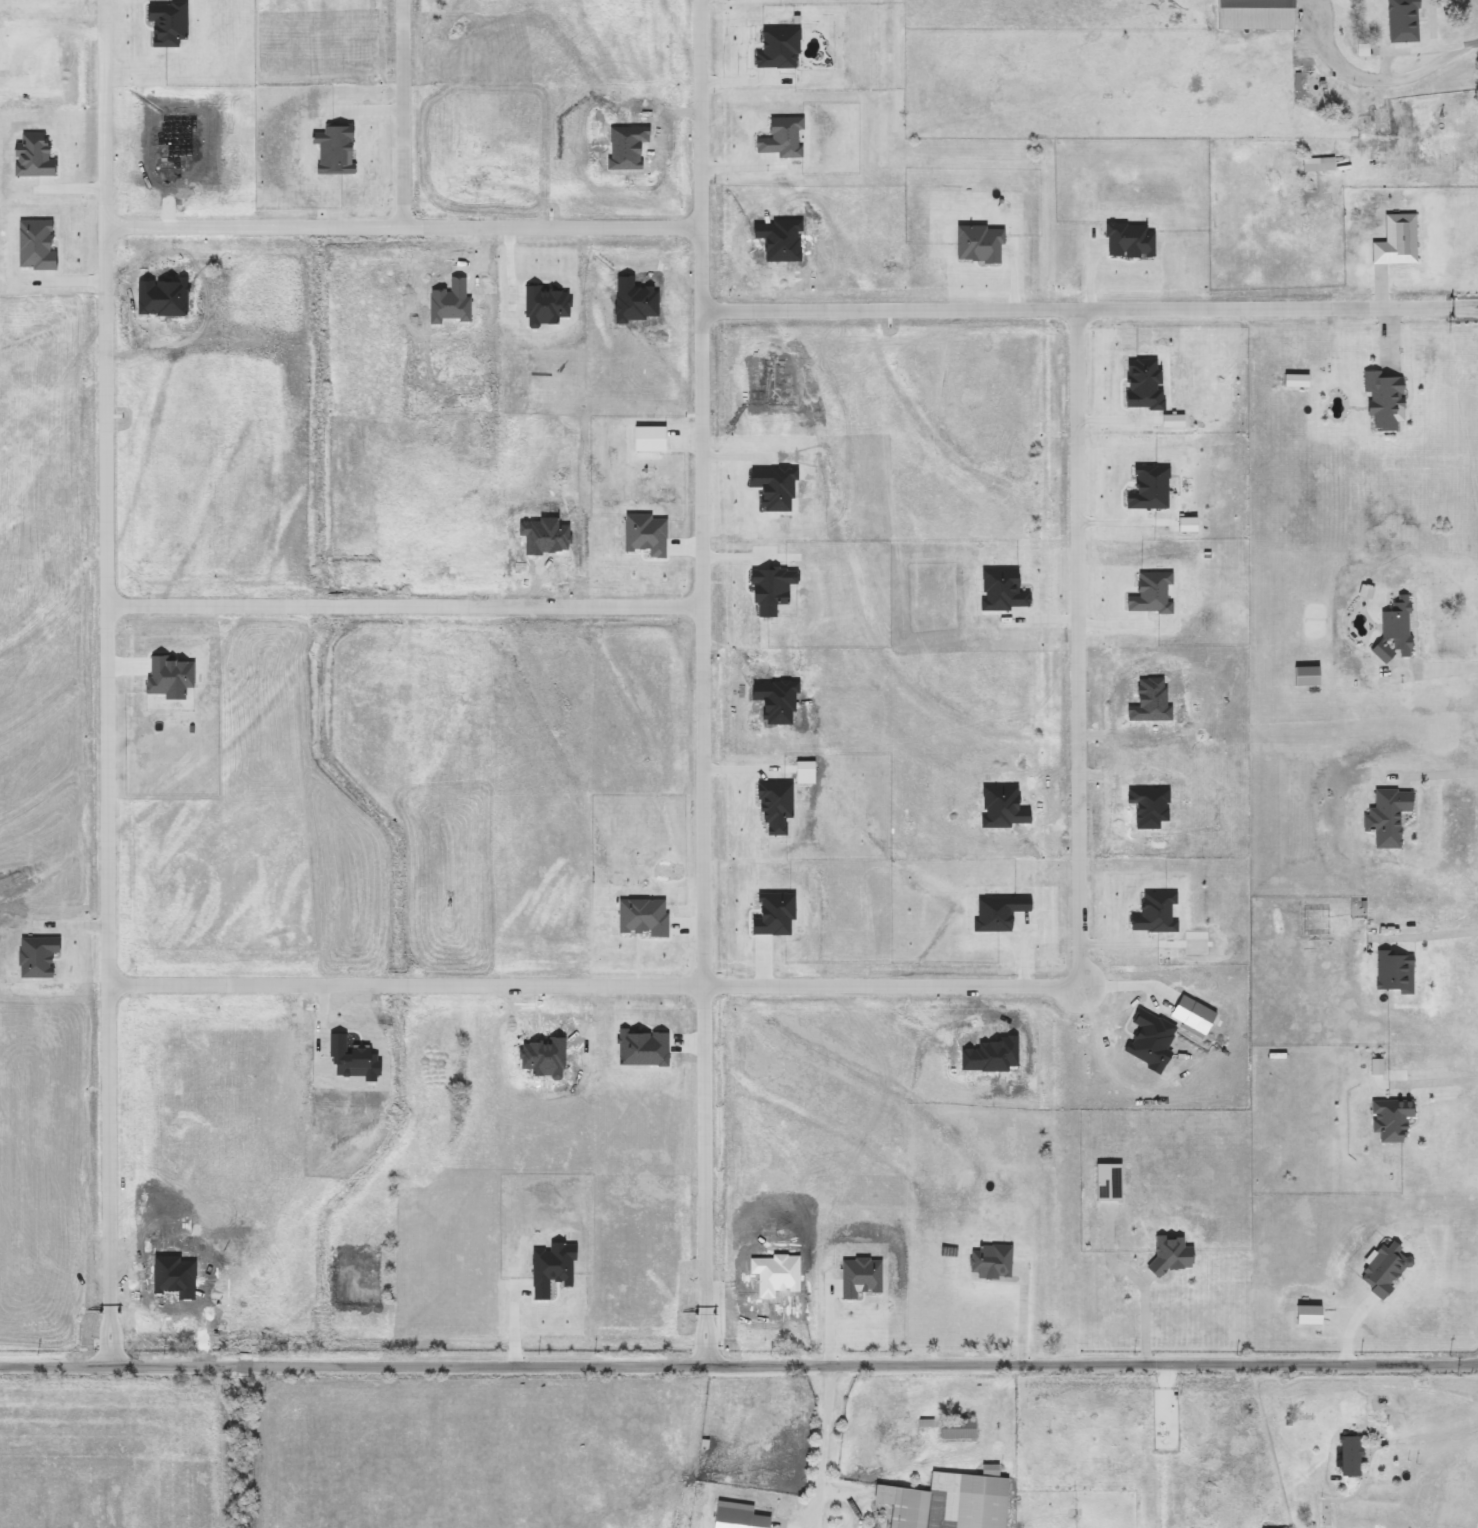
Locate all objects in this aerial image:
building: (1259, 14)
building: (1405, 21)
road: (1389, 80)
road: (104, 111)
road: (403, 111)
road: (1278, 304)
road: (106, 497)
road: (405, 601)
road: (1437, 667)
road: (704, 682)
road: (1445, 774)
road: (1434, 935)
road: (1082, 942)
road: (1434, 1081)
road: (1141, 1316)
road: (739, 1365)
building: (960, 1428)
building: (1385, 1428)
road: (1440, 1430)
building: (1357, 1447)
road: (825, 1448)
building: (980, 1498)
building: (907, 1505)
building: (741, 1516)
road: (1475, 1519)

